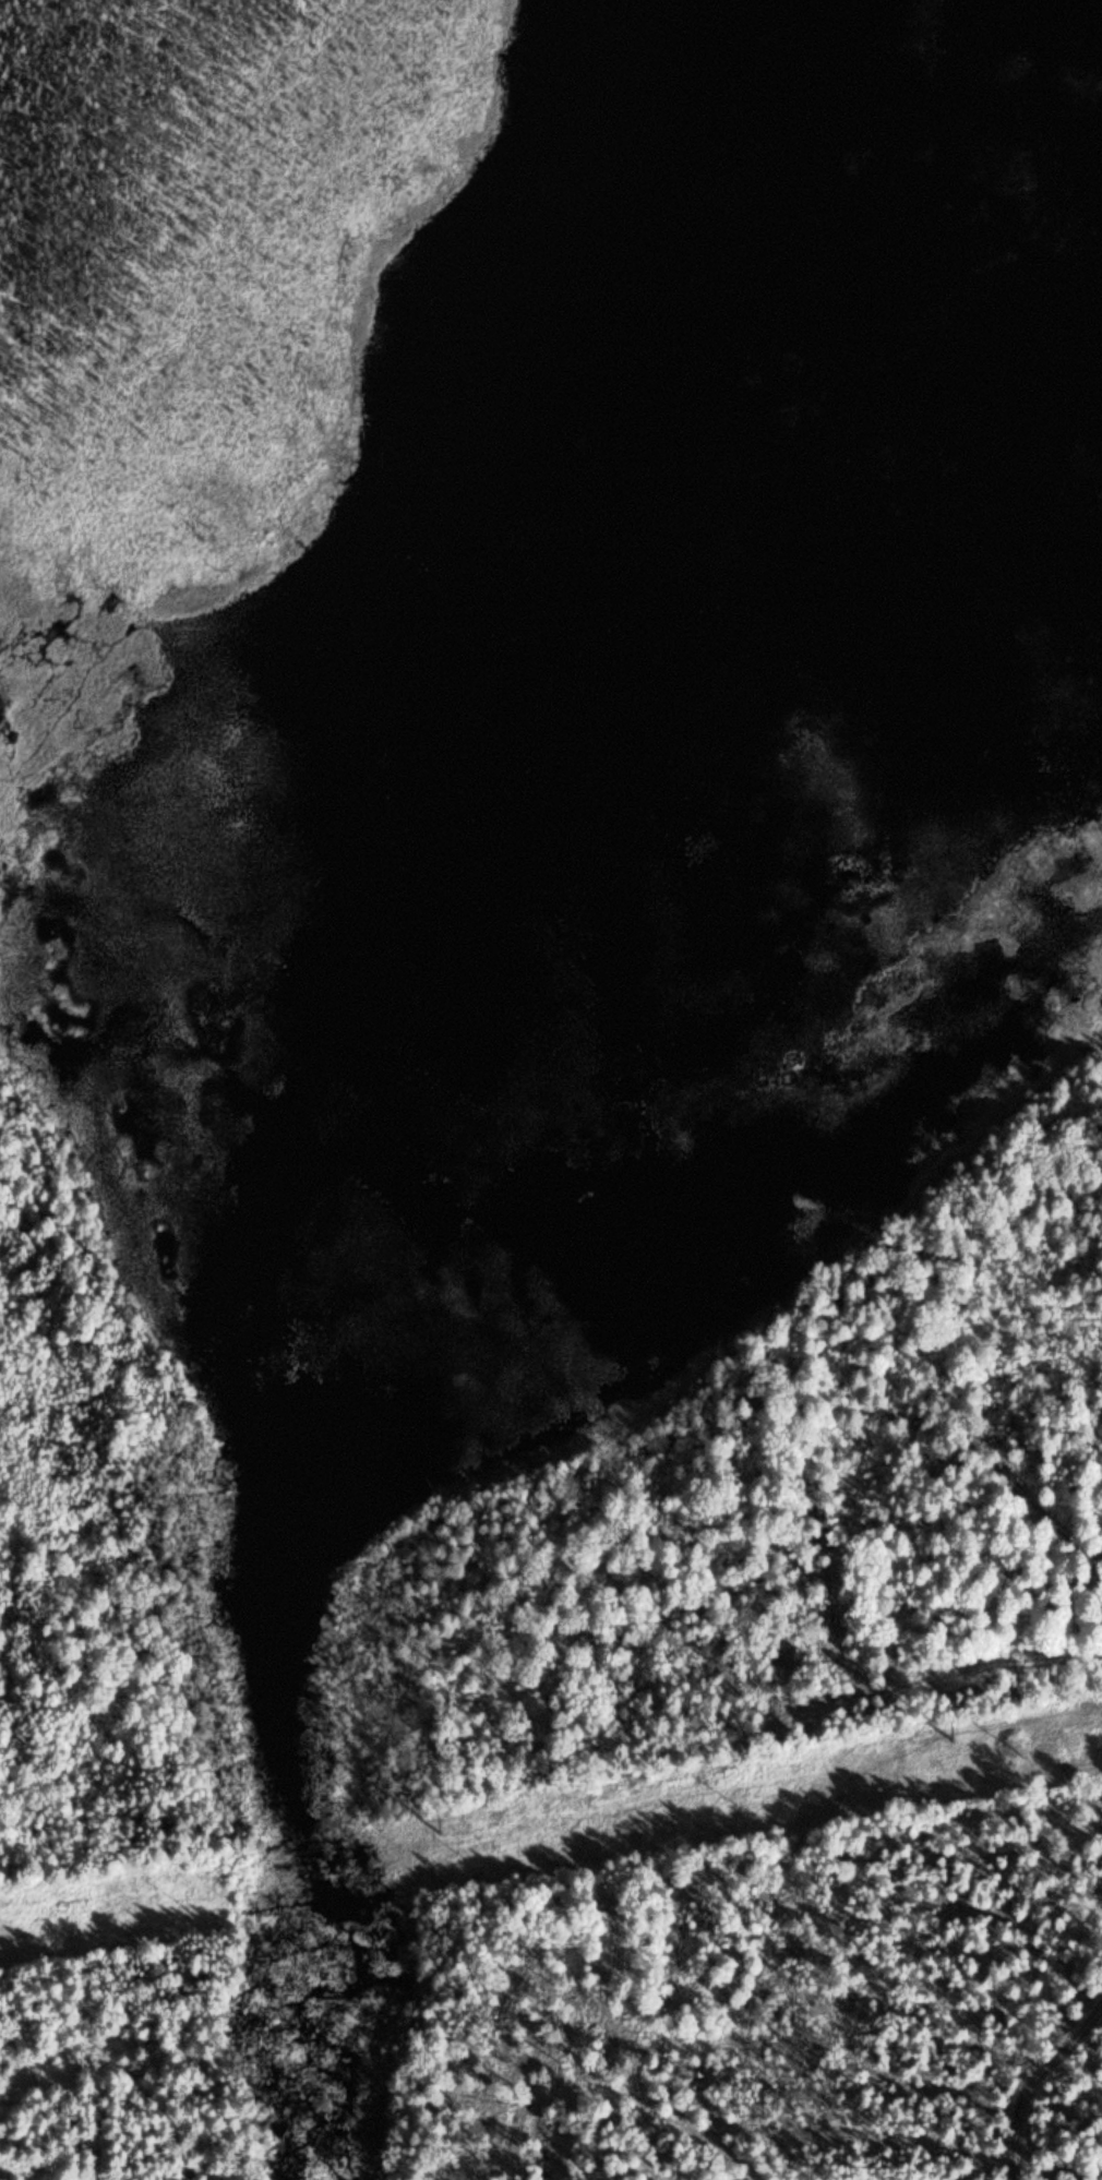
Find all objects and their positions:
power tower: (949, 1737)
power tower: (435, 1832)

